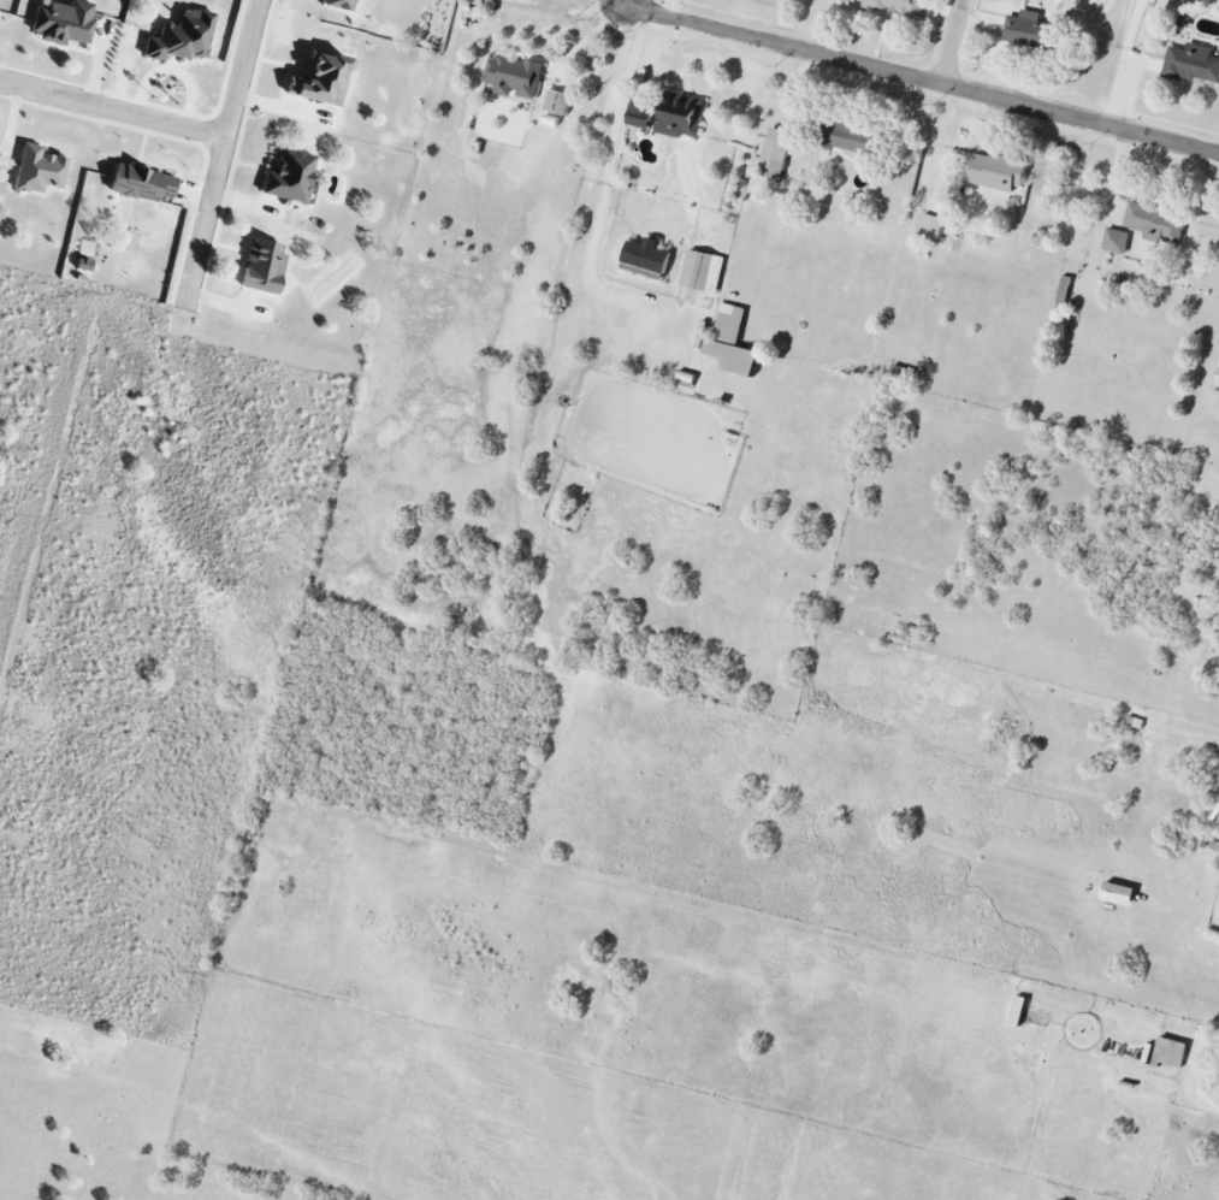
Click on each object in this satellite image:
building: (337, 4)
road: (627, 4)
building: (899, 7)
road: (670, 8)
building: (63, 22)
building: (1029, 29)
building: (181, 37)
road: (954, 43)
building: (1194, 64)
road: (563, 65)
building: (514, 77)
building: (321, 79)
road: (923, 81)
road: (625, 97)
building: (560, 102)
road: (112, 111)
building: (641, 113)
building: (682, 117)
building: (852, 137)
road: (220, 150)
building: (776, 154)
building: (39, 170)
building: (999, 172)
building: (290, 176)
building: (141, 184)
building: (939, 206)
building: (1156, 223)
building: (934, 226)
building: (1117, 241)
building: (647, 259)
building: (262, 267)
road: (590, 267)
building: (704, 272)
building: (733, 343)
building: (686, 380)
building: (1218, 384)
building: (1120, 894)
building: (1019, 1012)
building: (1171, 1054)

